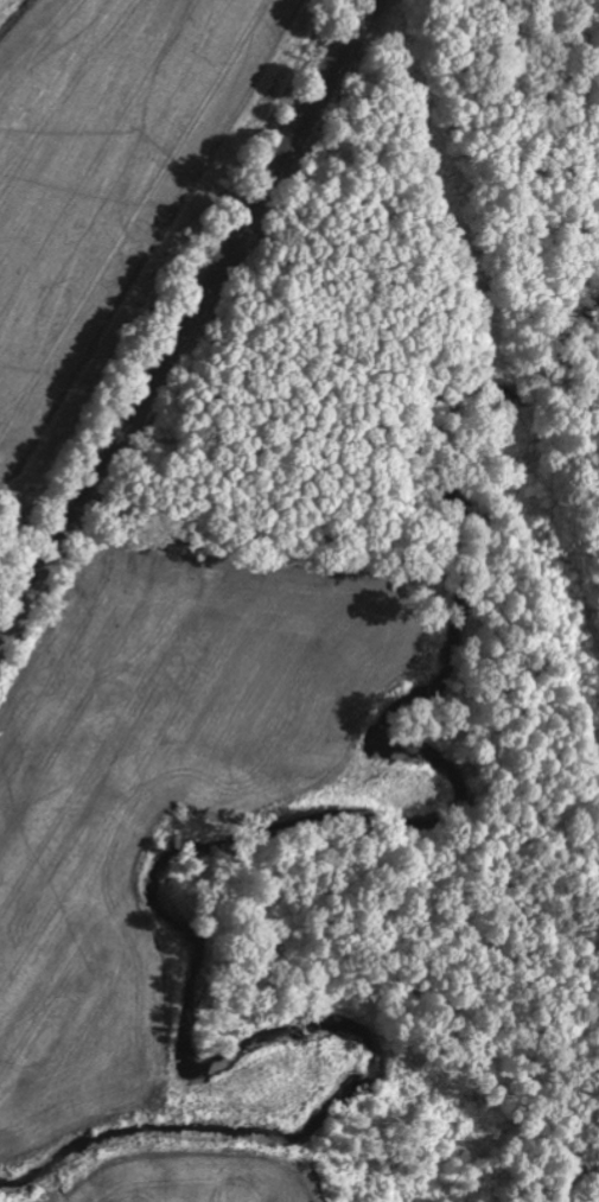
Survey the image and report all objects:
railway: (186, 320)

